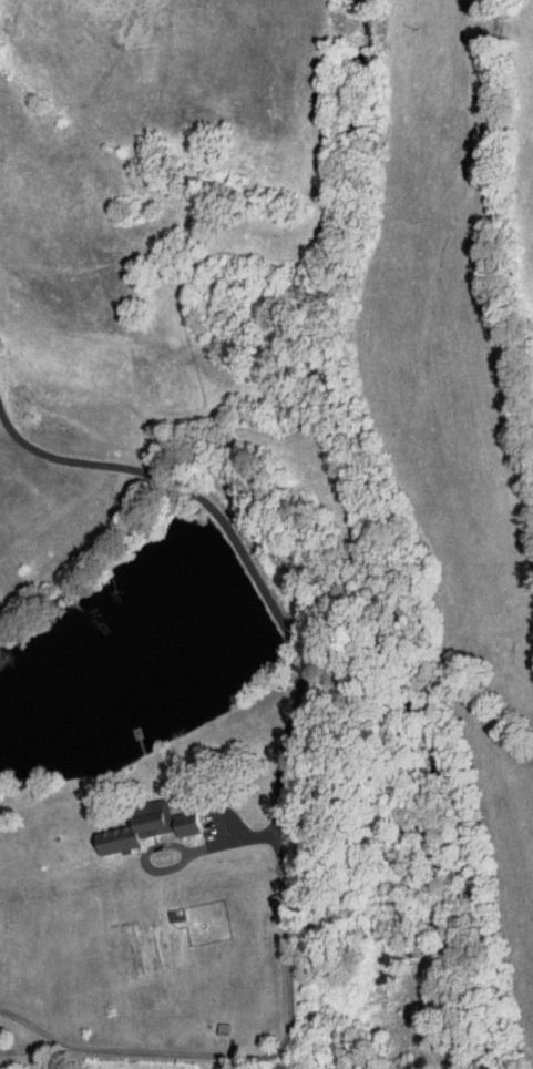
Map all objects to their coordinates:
road: (252, 566)
building: (188, 822)
building: (139, 826)

